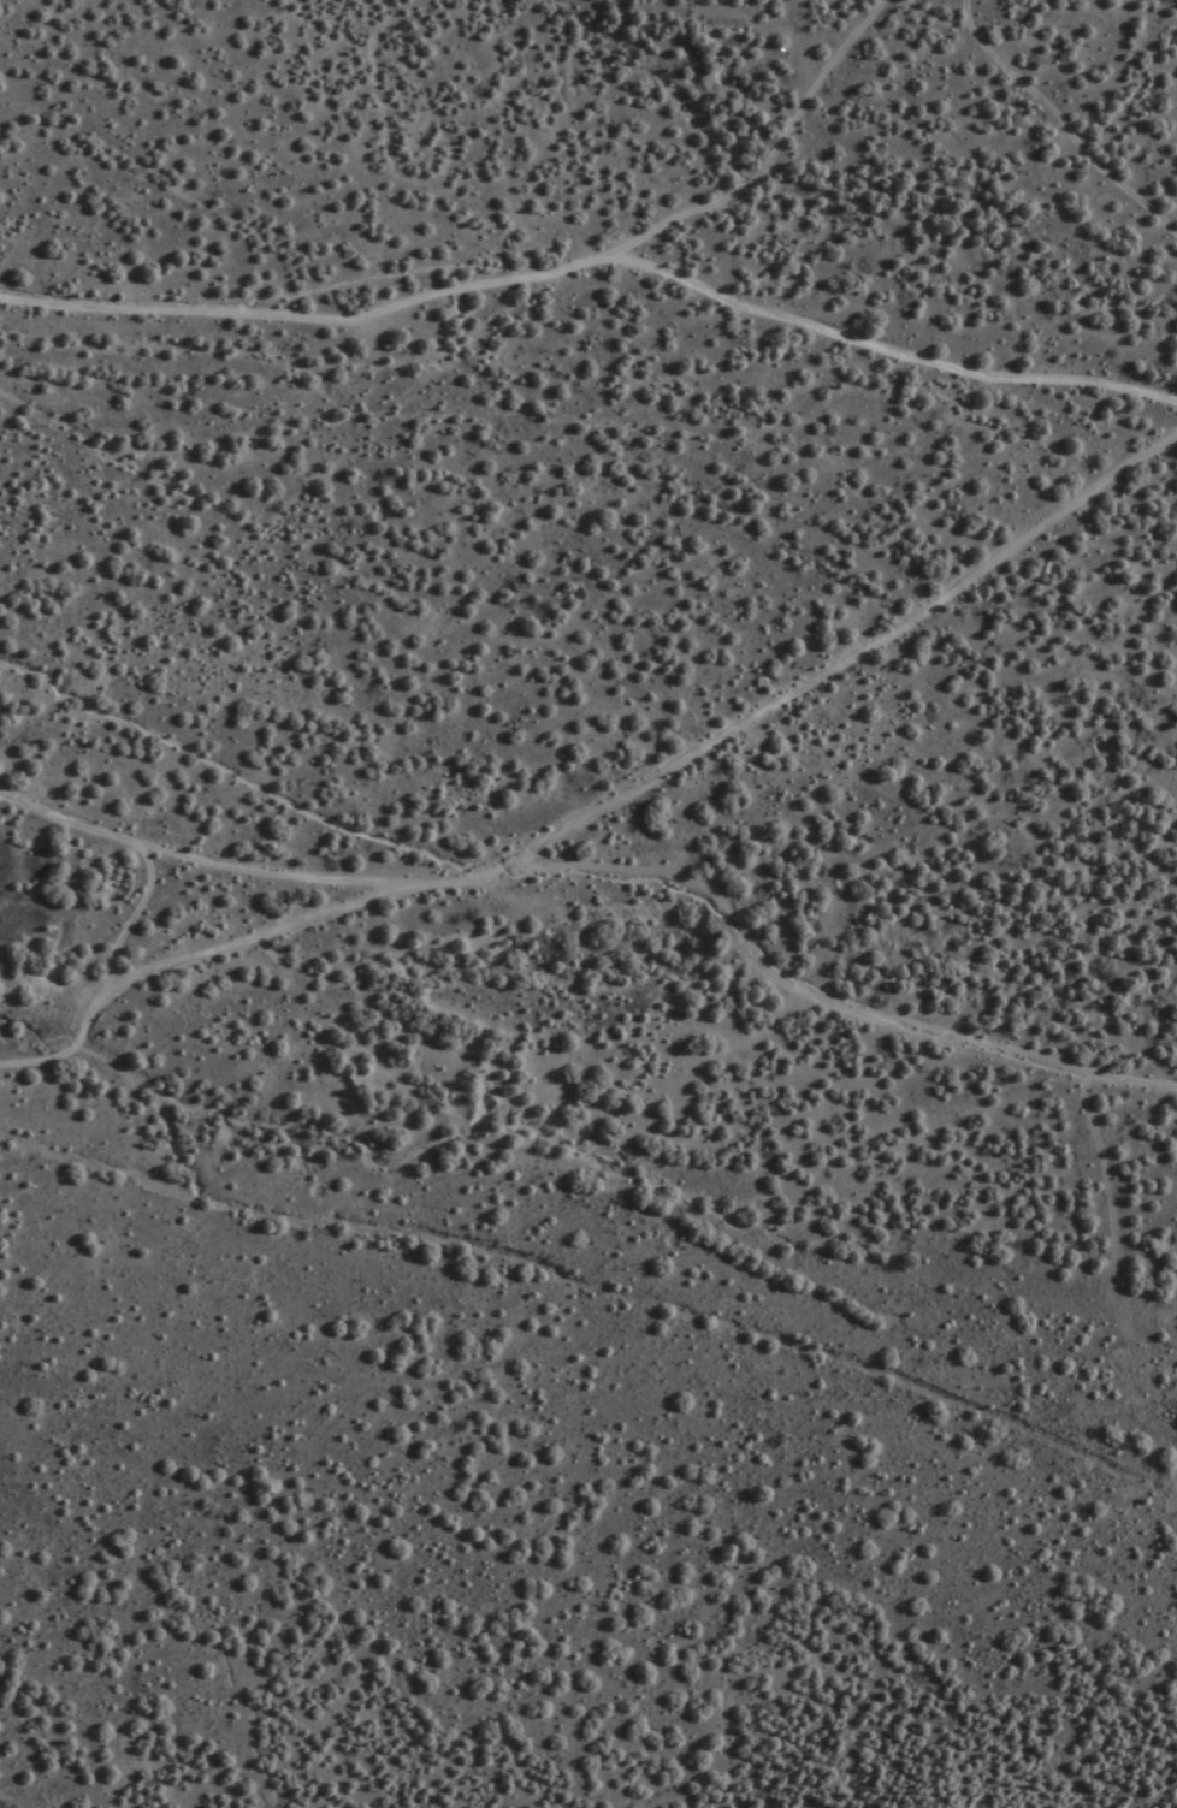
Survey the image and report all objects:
road: (746, 125)
road: (312, 313)
road: (897, 330)

